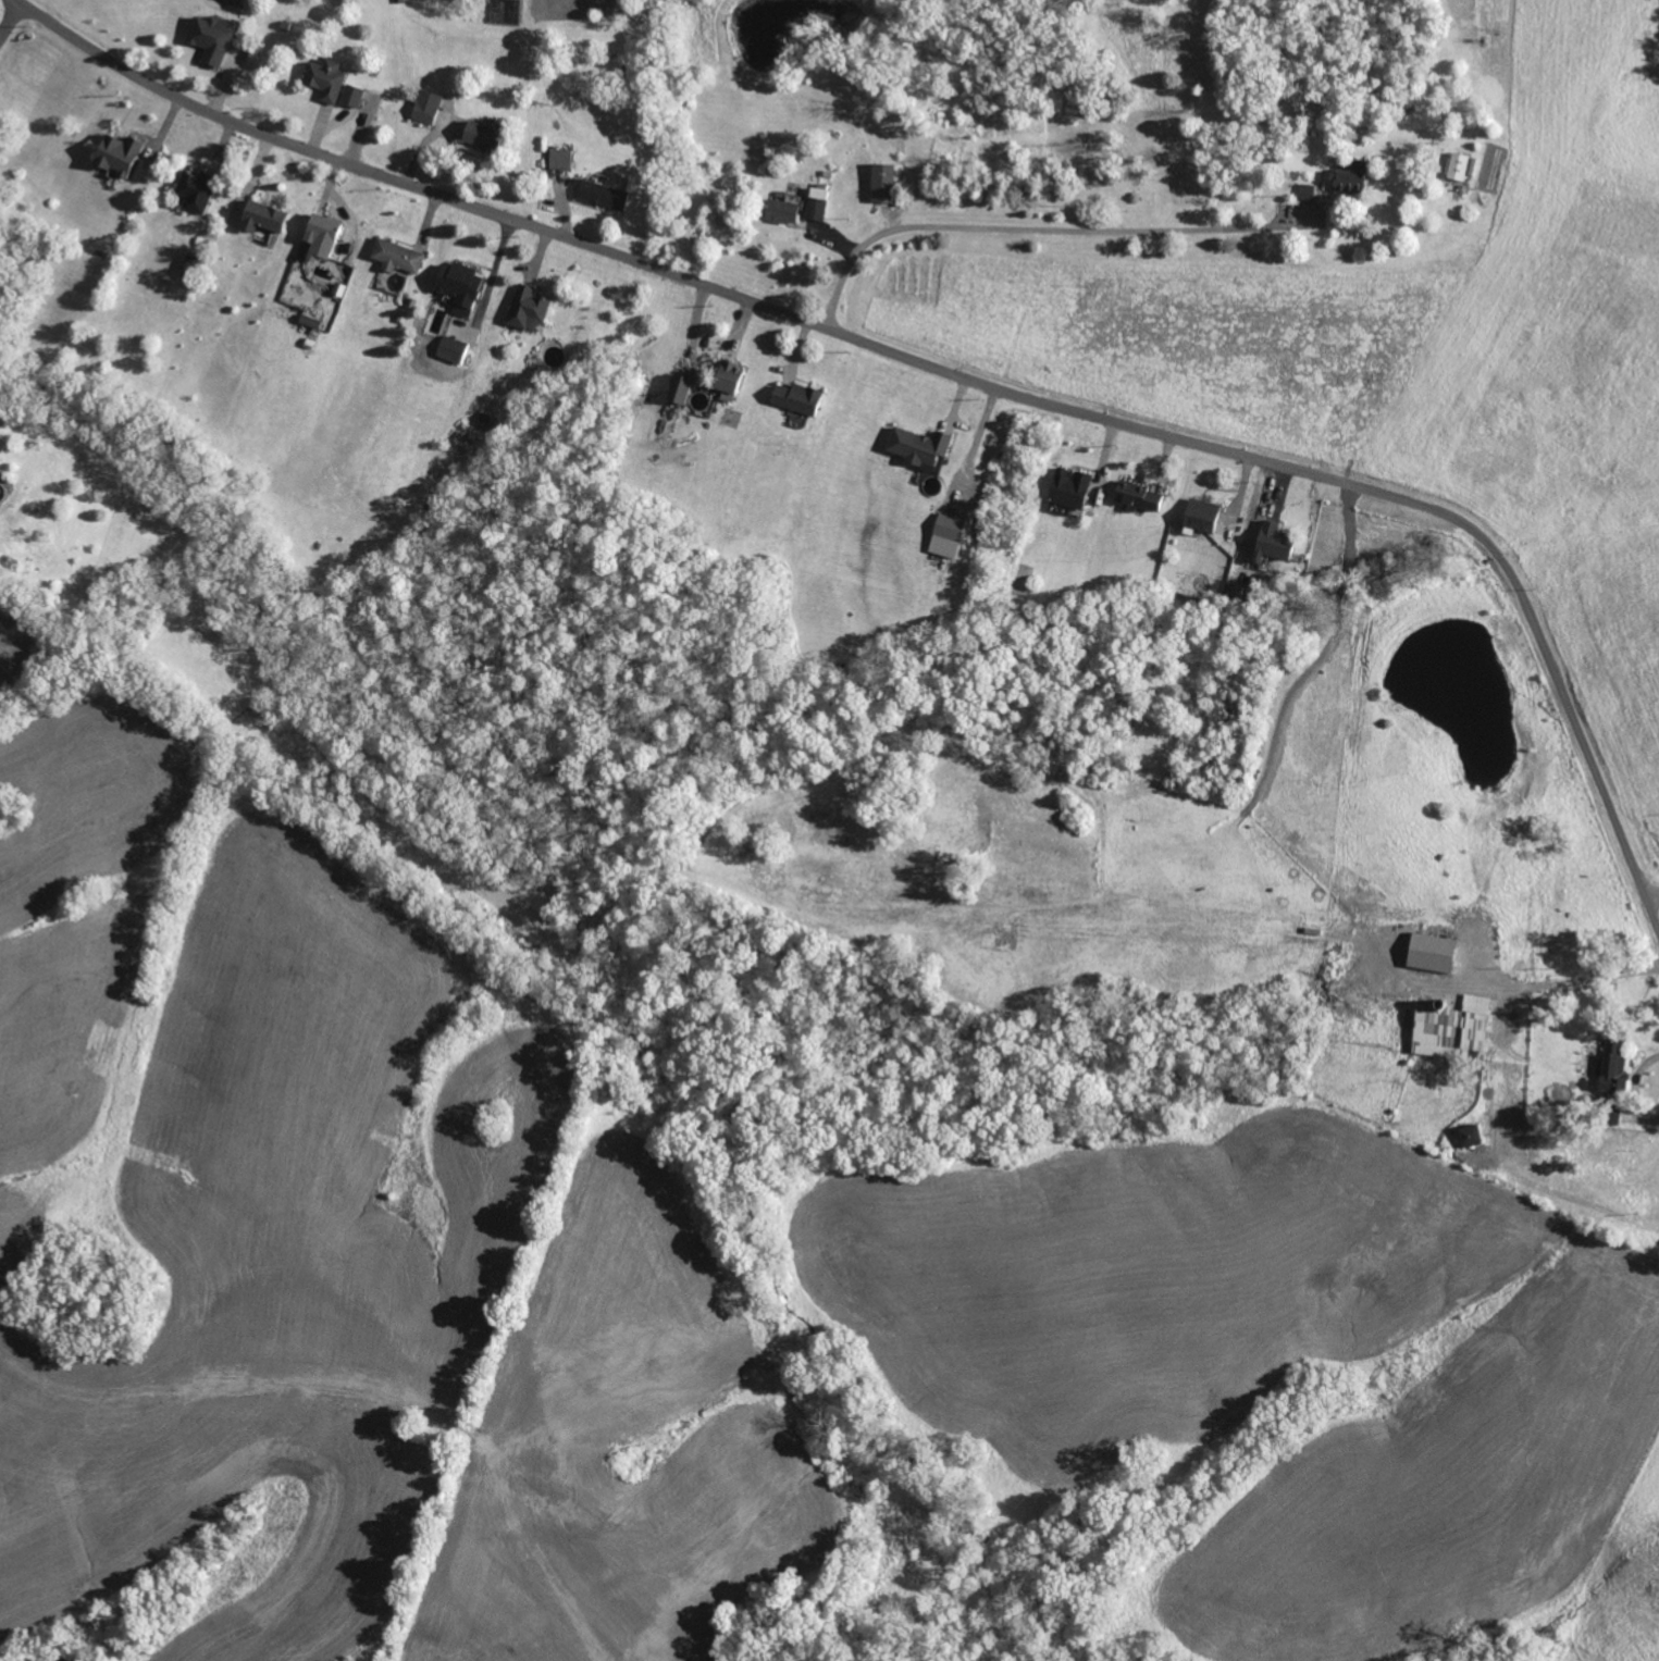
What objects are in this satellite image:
road: (11, 18)
building: (210, 40)
building: (324, 82)
building: (350, 98)
building: (425, 109)
building: (481, 138)
building: (116, 157)
building: (559, 161)
building: (1457, 169)
building: (1349, 184)
building: (882, 185)
building: (195, 194)
building: (1305, 195)
building: (602, 197)
building: (816, 206)
building: (780, 212)
building: (261, 220)
road: (1020, 227)
building: (320, 239)
building: (396, 259)
road: (493, 275)
building: (459, 289)
building: (527, 312)
building: (309, 324)
building: (450, 351)
road: (944, 370)
building: (728, 381)
building: (678, 392)
building: (796, 401)
building: (917, 447)
building: (1069, 489)
building: (1138, 498)
building: (1200, 517)
building: (946, 536)
building: (1272, 544)
road: (1651, 893)
building: (1431, 955)
road: (1538, 981)
building: (1451, 1030)
building: (1611, 1070)
road: (1632, 1084)
building: (1470, 1137)

